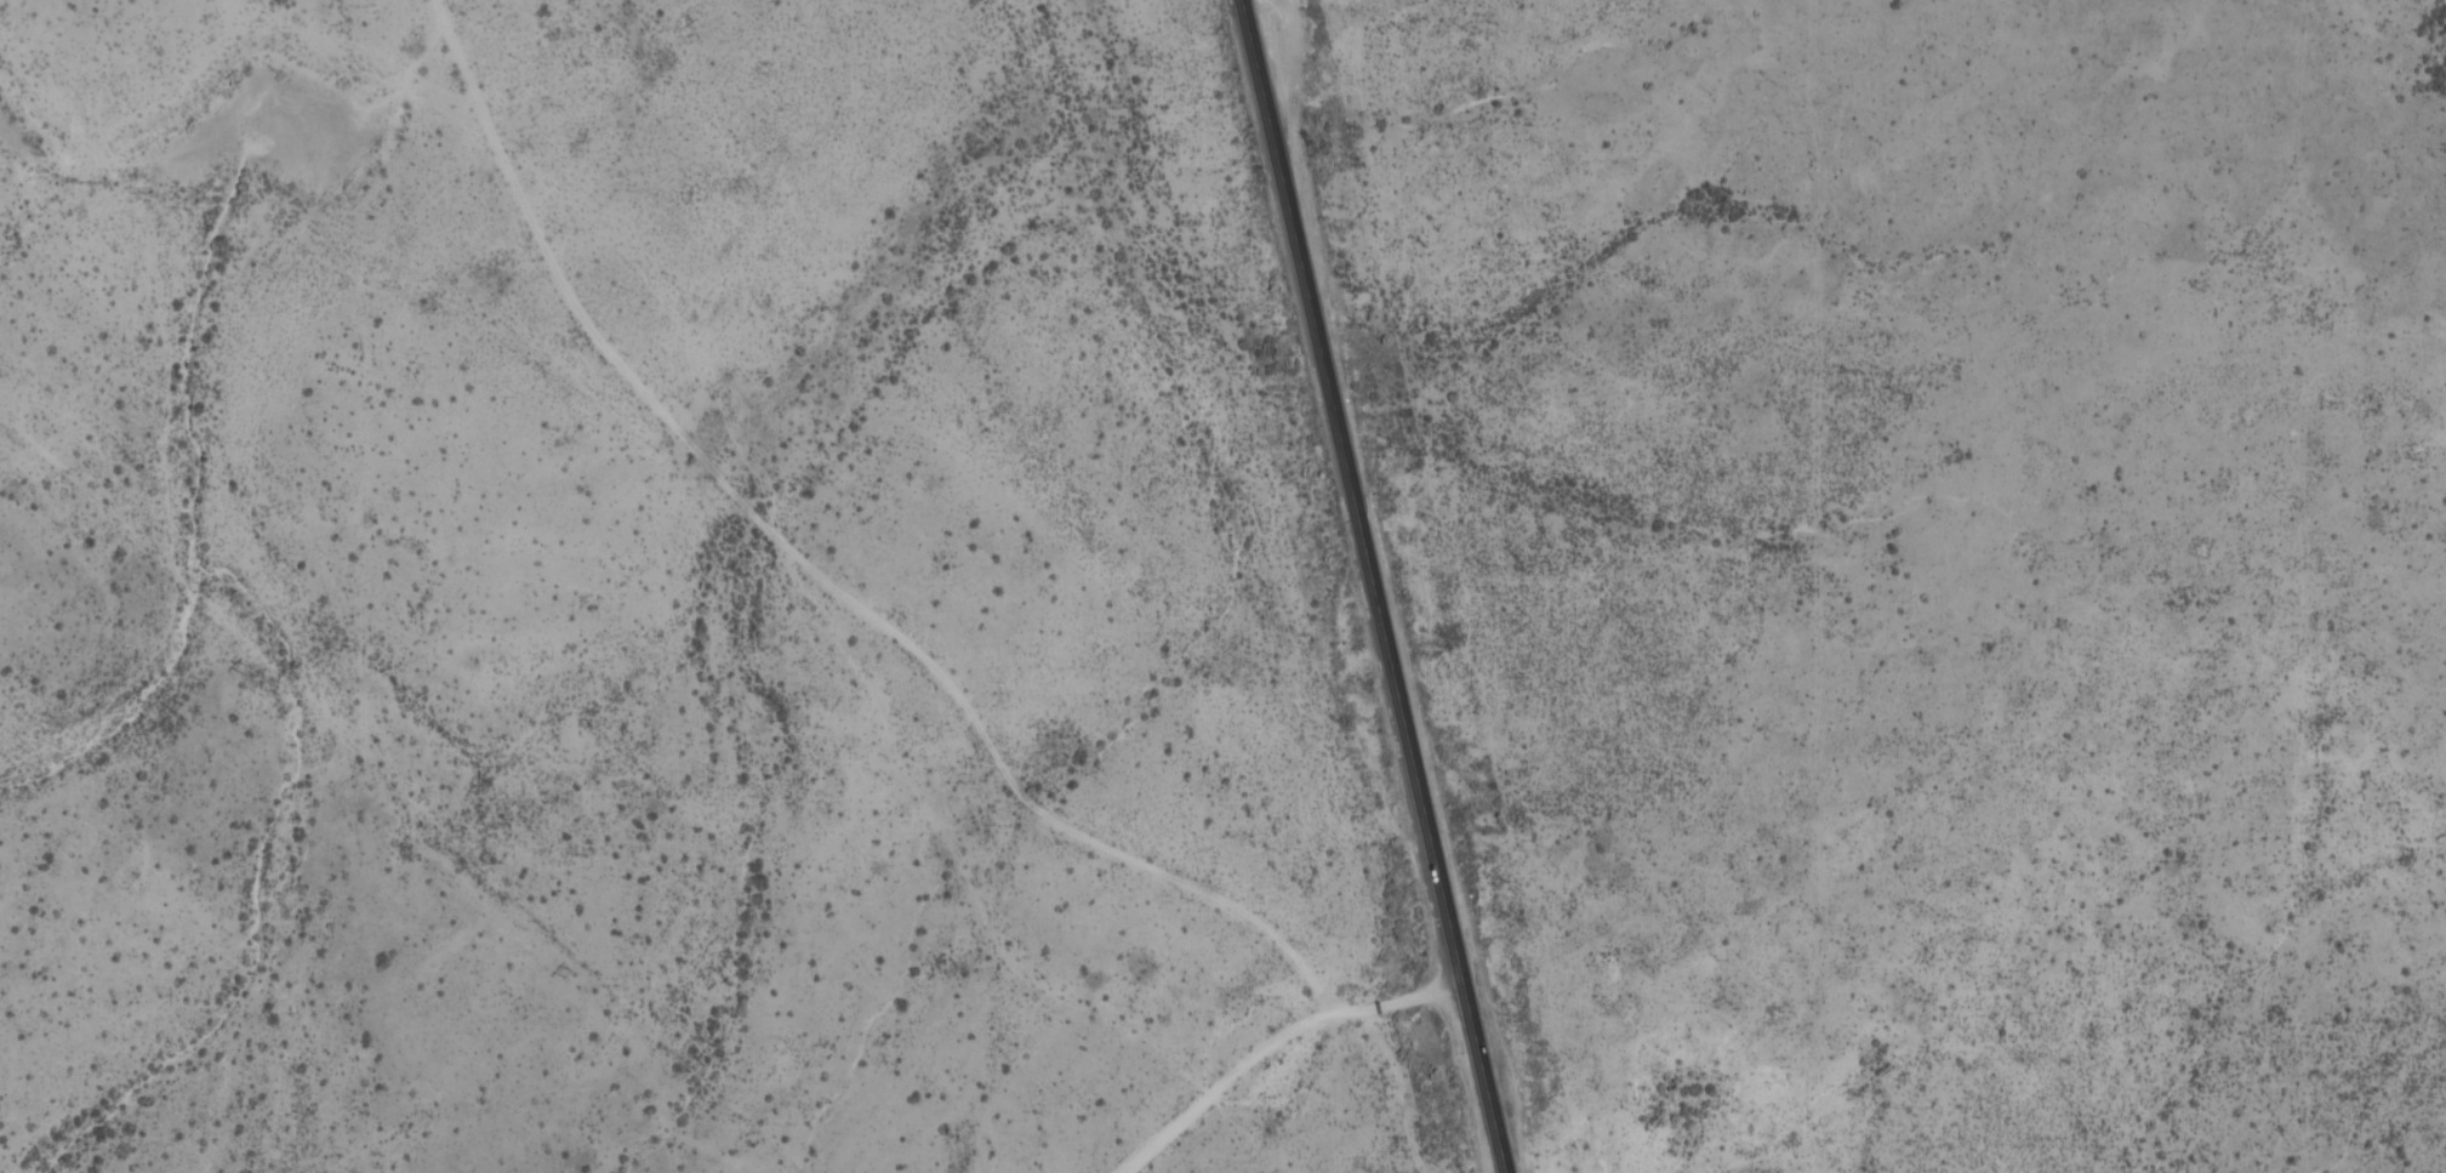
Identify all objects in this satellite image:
road: (1374, 586)
road: (866, 611)
power tower: (245, 666)
power tower: (564, 969)
road: (1220, 1082)

